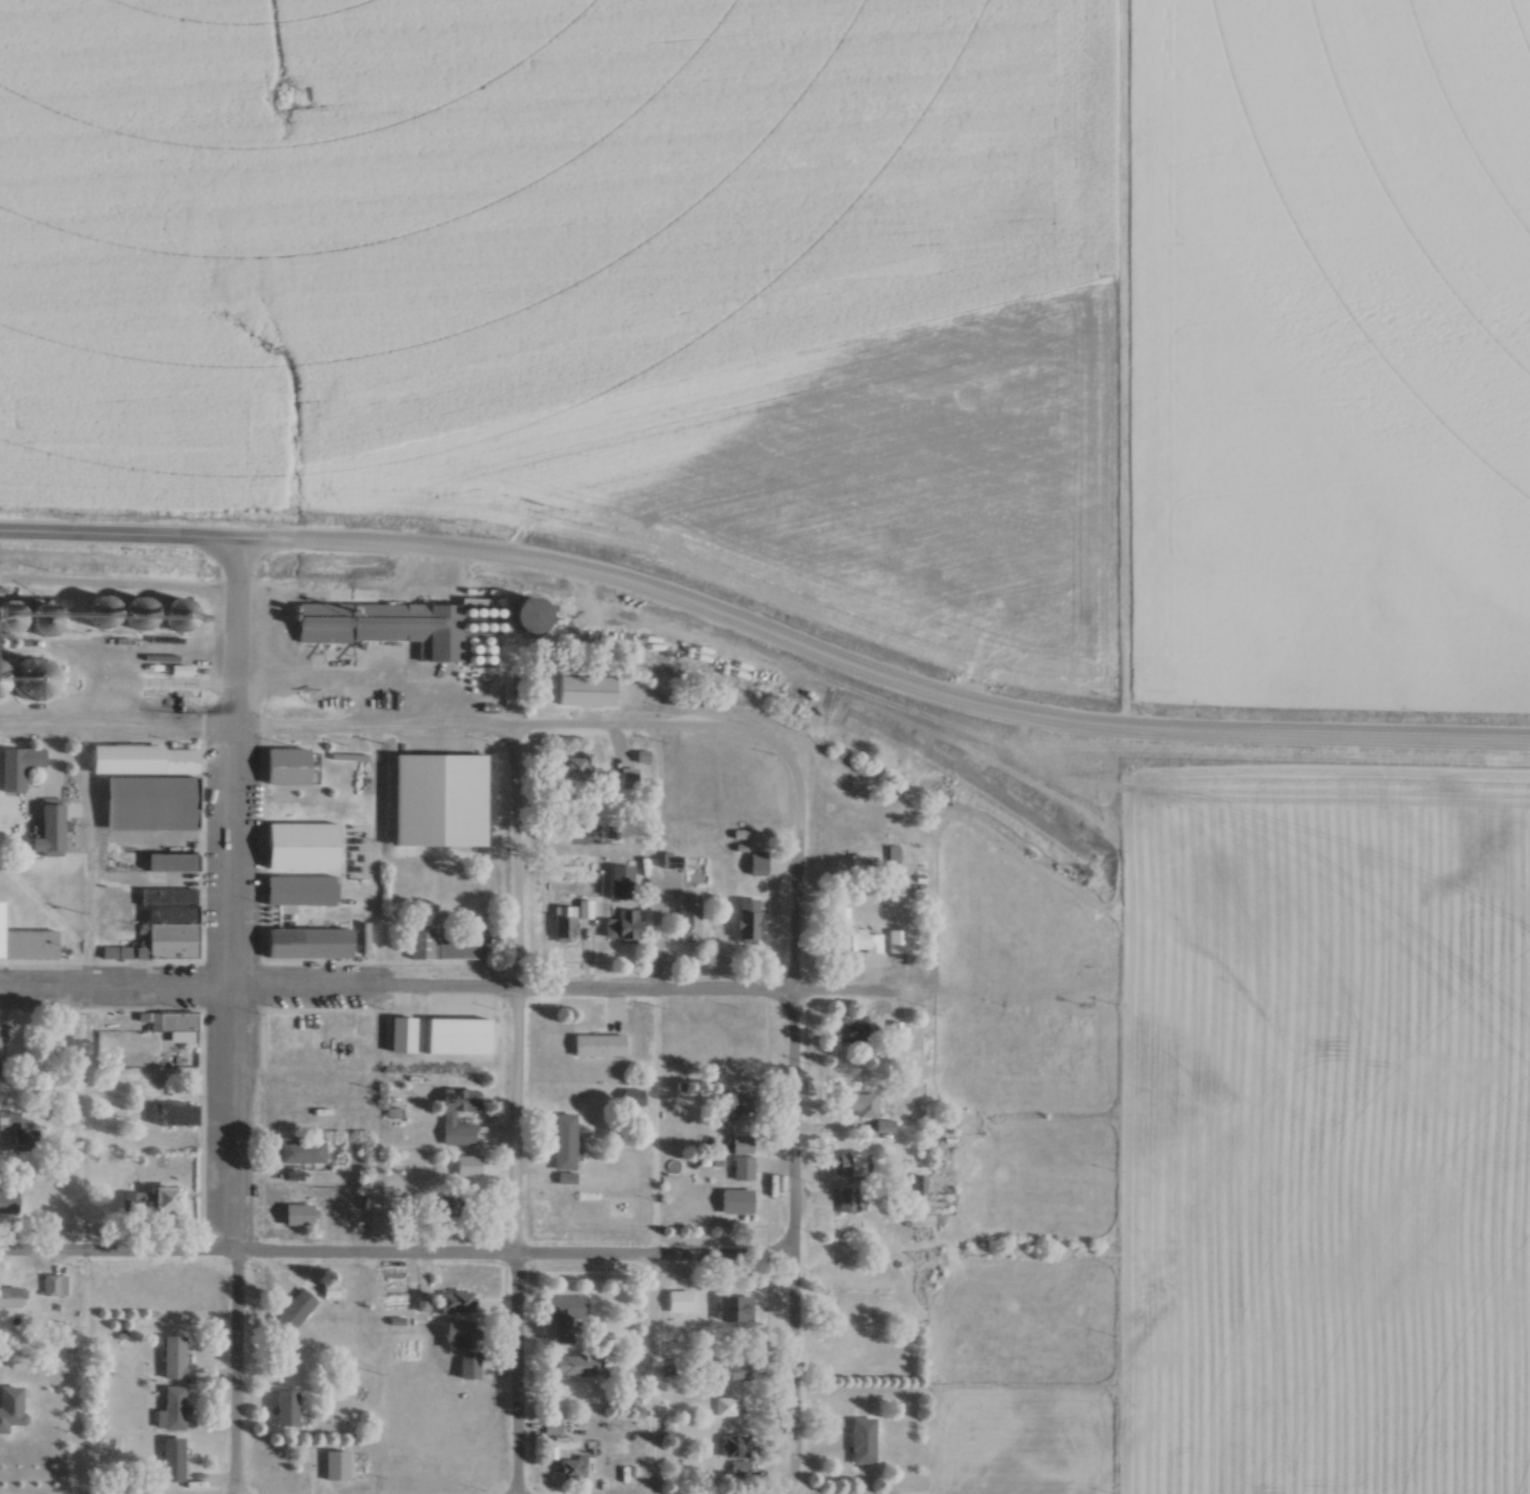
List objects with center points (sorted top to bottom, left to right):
road: (117, 540)
road: (352, 603)
building: (172, 617)
building: (393, 622)
road: (875, 680)
road: (327, 733)
building: (144, 760)
building: (465, 765)
building: (578, 766)
building: (18, 767)
building: (287, 767)
building: (628, 778)
building: (150, 804)
building: (49, 830)
building: (301, 845)
building: (891, 859)
building: (672, 860)
building: (169, 862)
road: (660, 862)
road: (90, 863)
building: (756, 863)
building: (622, 881)
building: (301, 890)
building: (587, 909)
building: (688, 918)
building: (747, 919)
building: (566, 923)
building: (168, 924)
building: (623, 925)
building: (852, 933)
building: (895, 940)
building: (307, 942)
building: (27, 944)
building: (450, 945)
building: (115, 953)
road: (458, 993)
road: (231, 1019)
building: (175, 1025)
building: (281, 1027)
building: (481, 1028)
building: (850, 1032)
building: (604, 1040)
road: (795, 1057)
building: (859, 1103)
building: (731, 1107)
road: (517, 1112)
building: (176, 1115)
building: (449, 1116)
building: (884, 1126)
building: (17, 1134)
building: (563, 1141)
building: (742, 1144)
building: (304, 1151)
building: (467, 1164)
building: (850, 1164)
building: (743, 1168)
building: (919, 1184)
building: (157, 1200)
building: (848, 1200)
building: (9, 1201)
building: (735, 1201)
building: (298, 1214)
road: (397, 1256)
building: (57, 1286)
building: (12, 1297)
building: (456, 1302)
building: (735, 1308)
building: (294, 1312)
building: (562, 1315)
building: (463, 1345)
building: (173, 1357)
building: (572, 1365)
building: (732, 1369)
road: (653, 1377)
building: (725, 1405)
building: (10, 1406)
building: (174, 1408)
building: (286, 1408)
building: (553, 1427)
building: (861, 1440)
building: (734, 1446)
building: (173, 1458)
building: (330, 1465)
building: (573, 1468)

